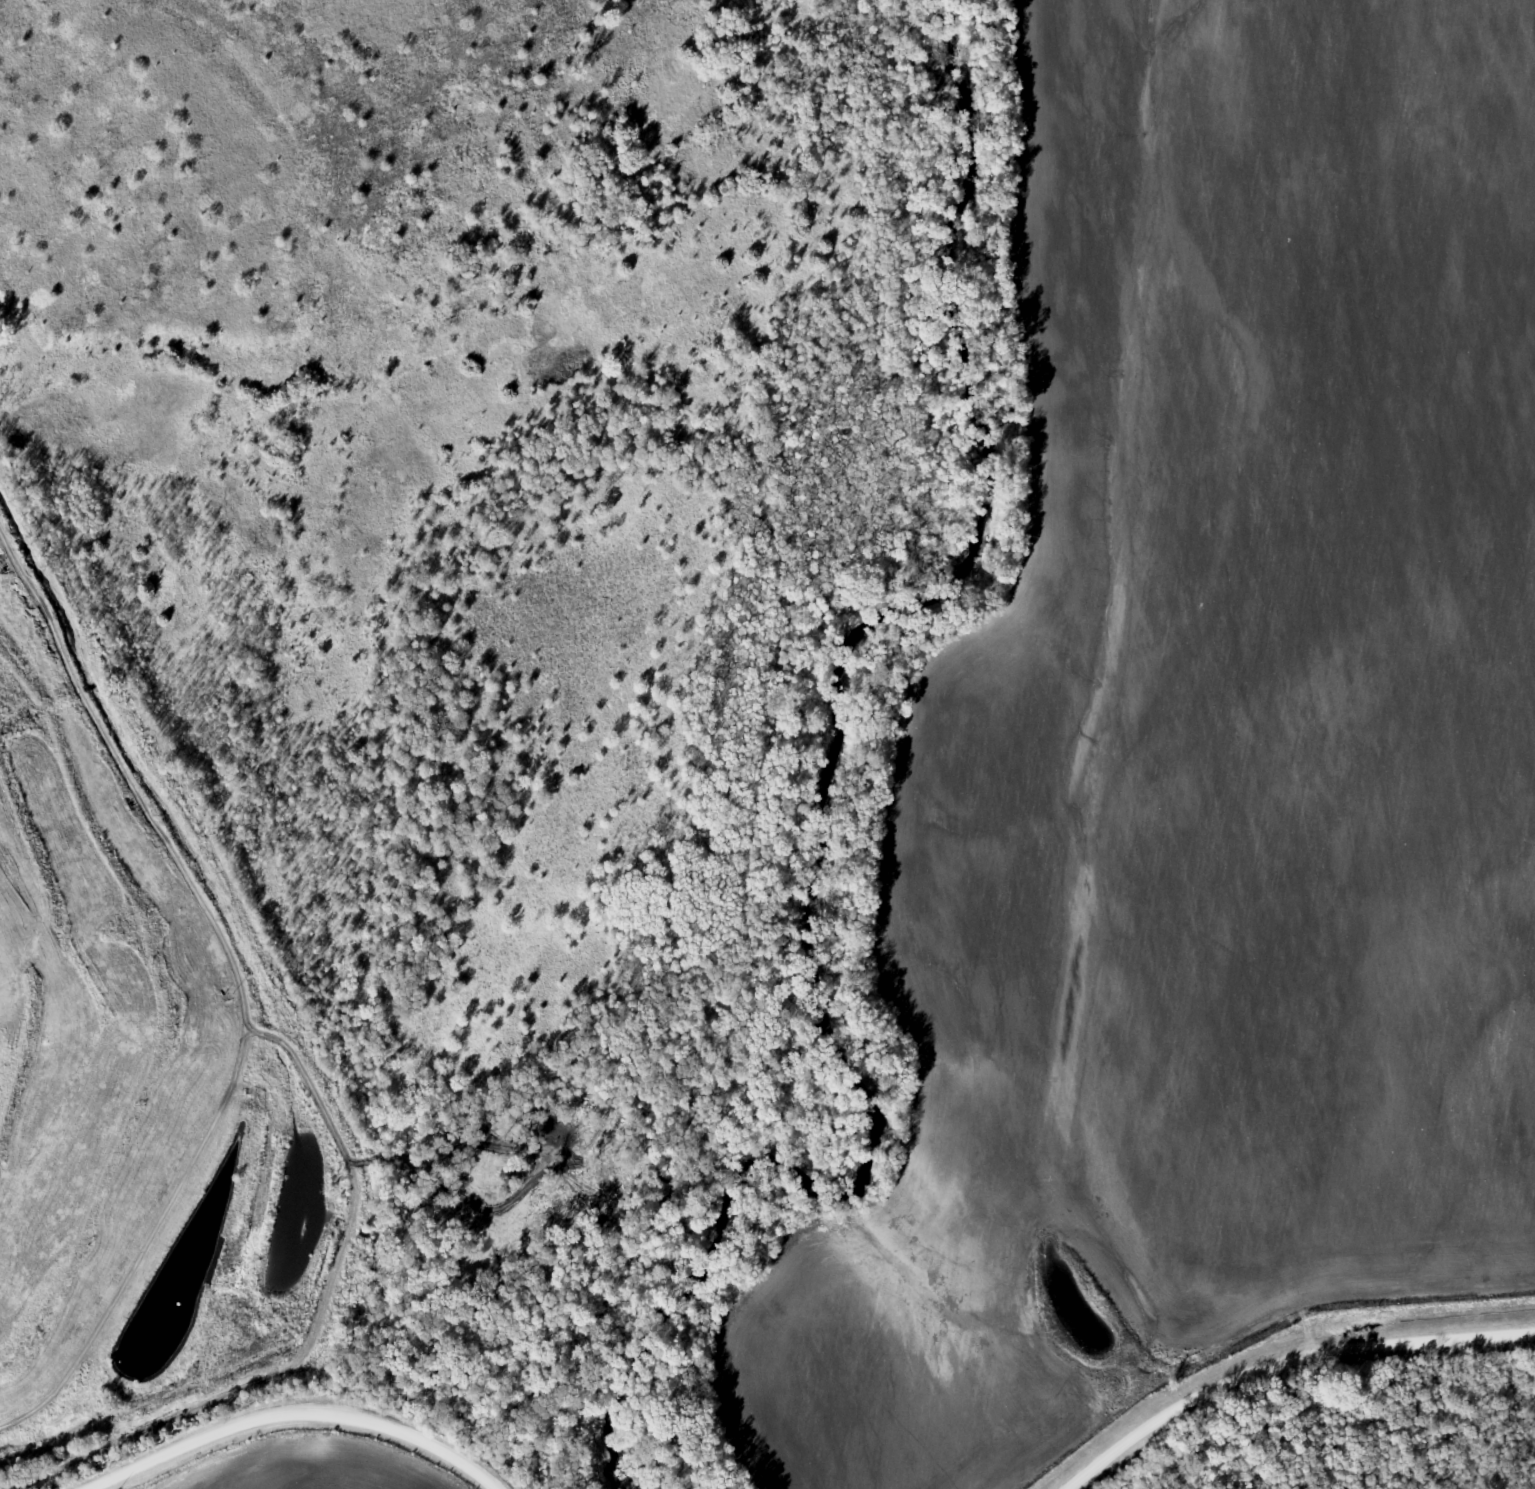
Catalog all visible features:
road: (1279, 1363)
road: (298, 1418)

